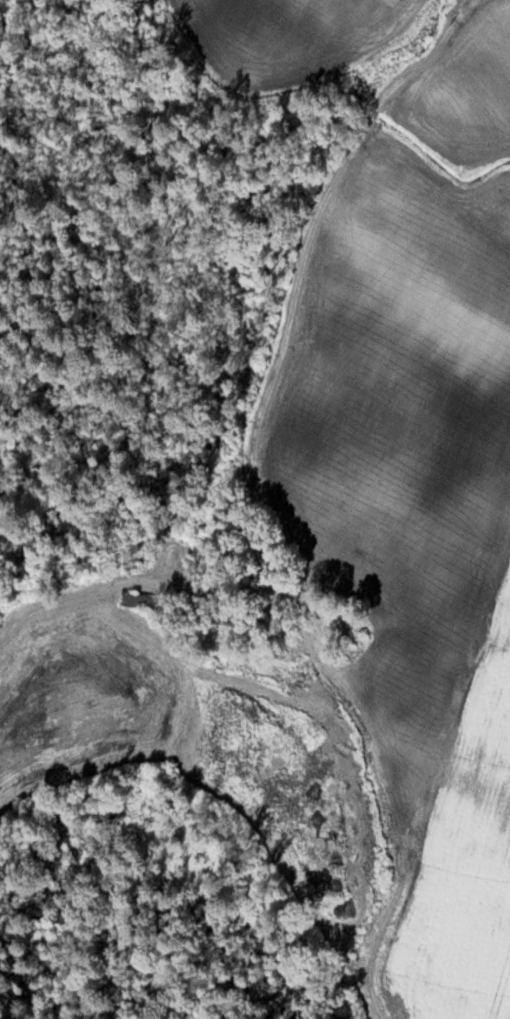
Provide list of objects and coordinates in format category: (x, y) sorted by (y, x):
road: (256, 432)
building: (281, 665)

